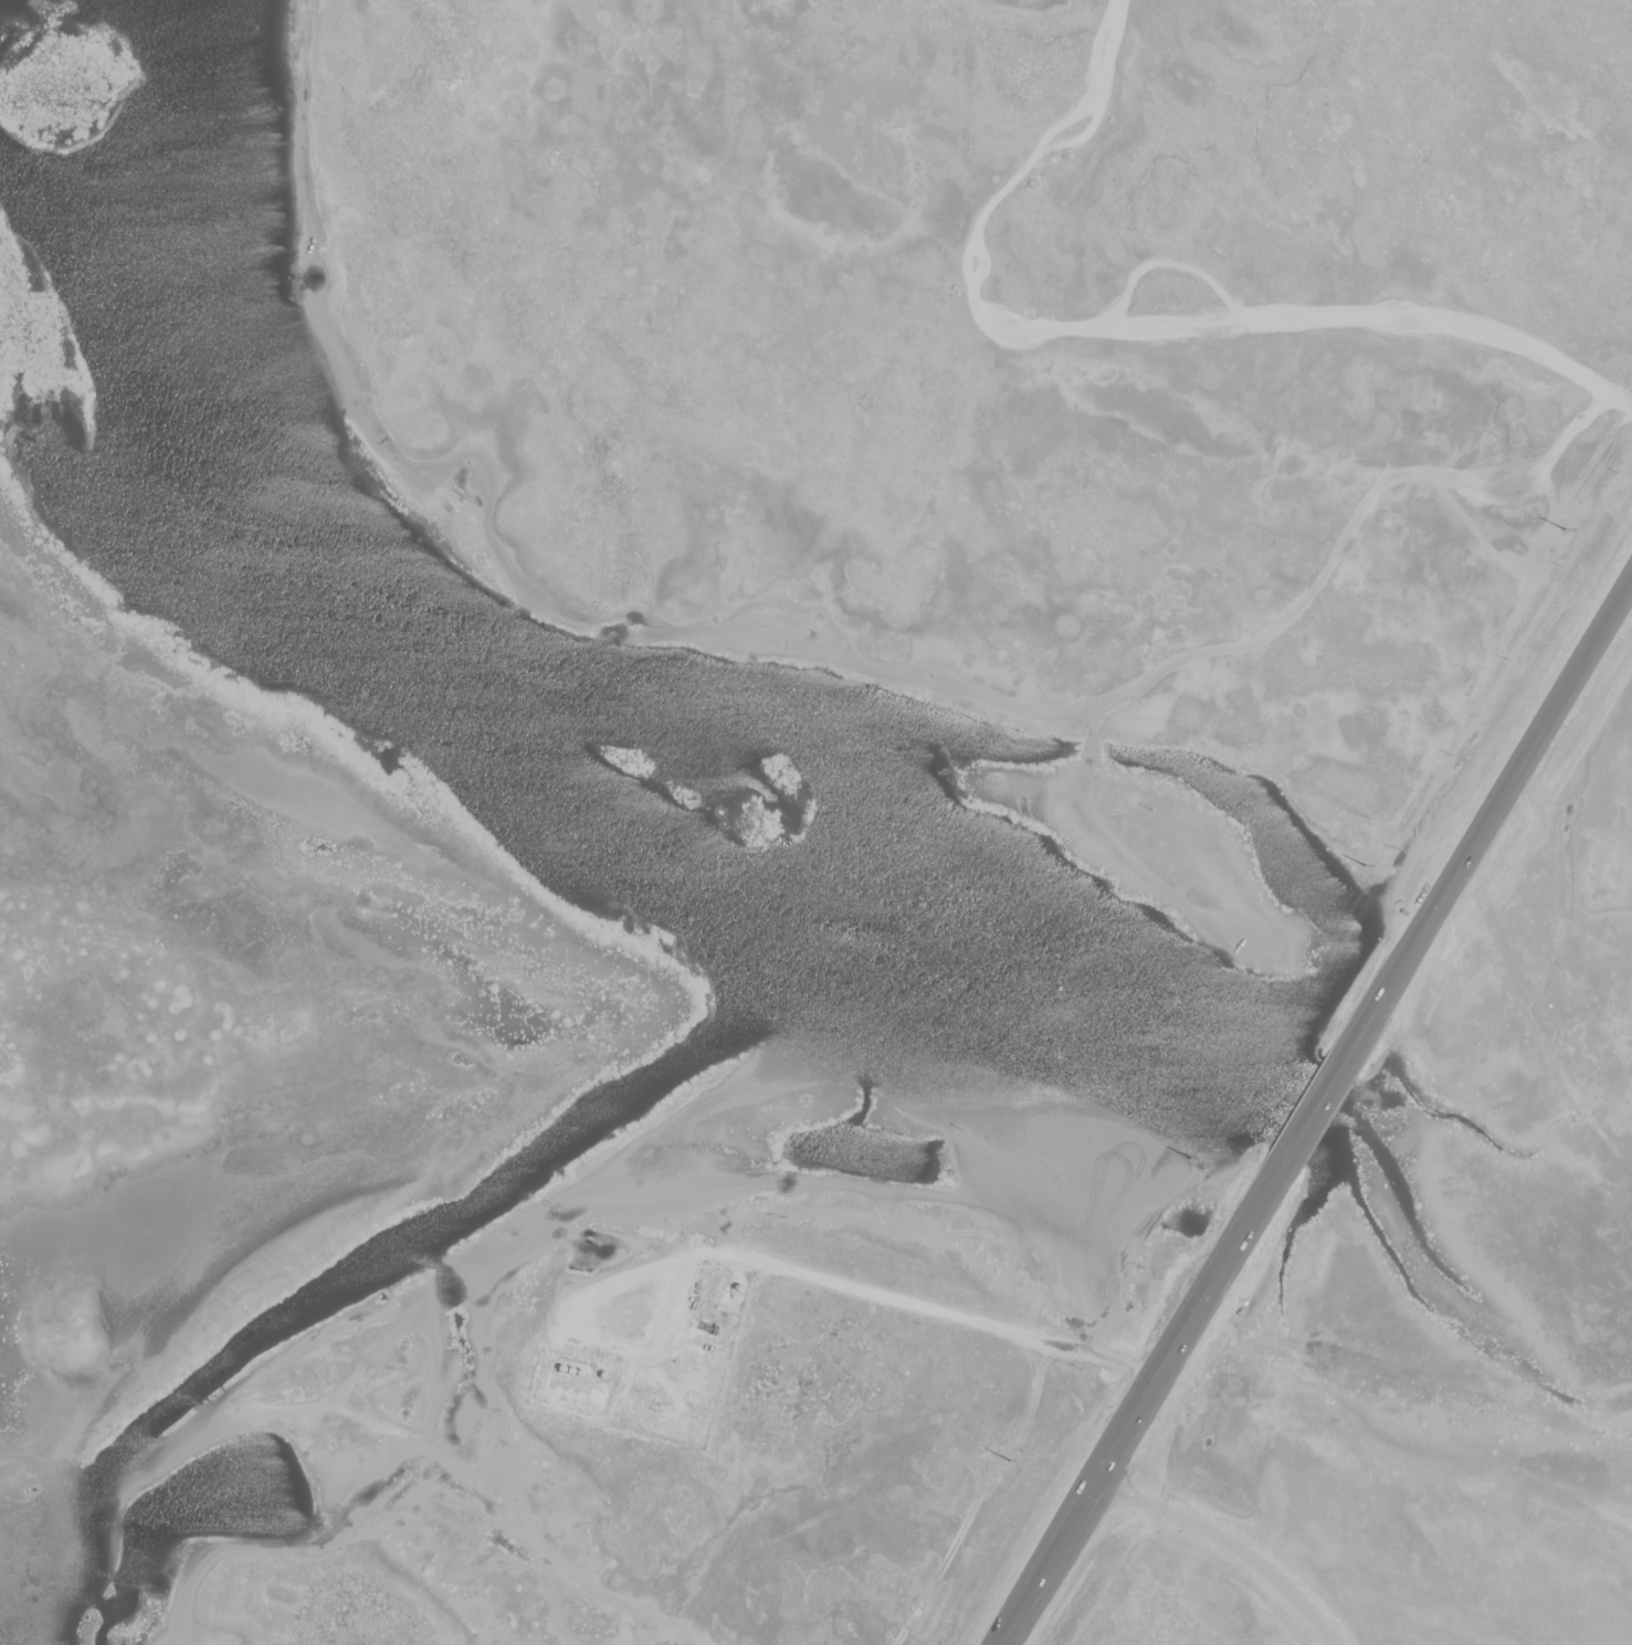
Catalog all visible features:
park: (997, 348)
road: (1622, 403)
power tower: (1567, 530)
road: (1493, 826)
power tower: (1366, 866)
park: (1571, 893)
road: (1323, 1111)
power tower: (1191, 1159)
road: (1247, 1235)
road: (1149, 1395)
park: (622, 1416)
park: (1438, 1442)
power tower: (1010, 1463)
road: (1061, 1541)
road: (1231, 1544)
park: (1182, 1605)
road: (1012, 1622)

